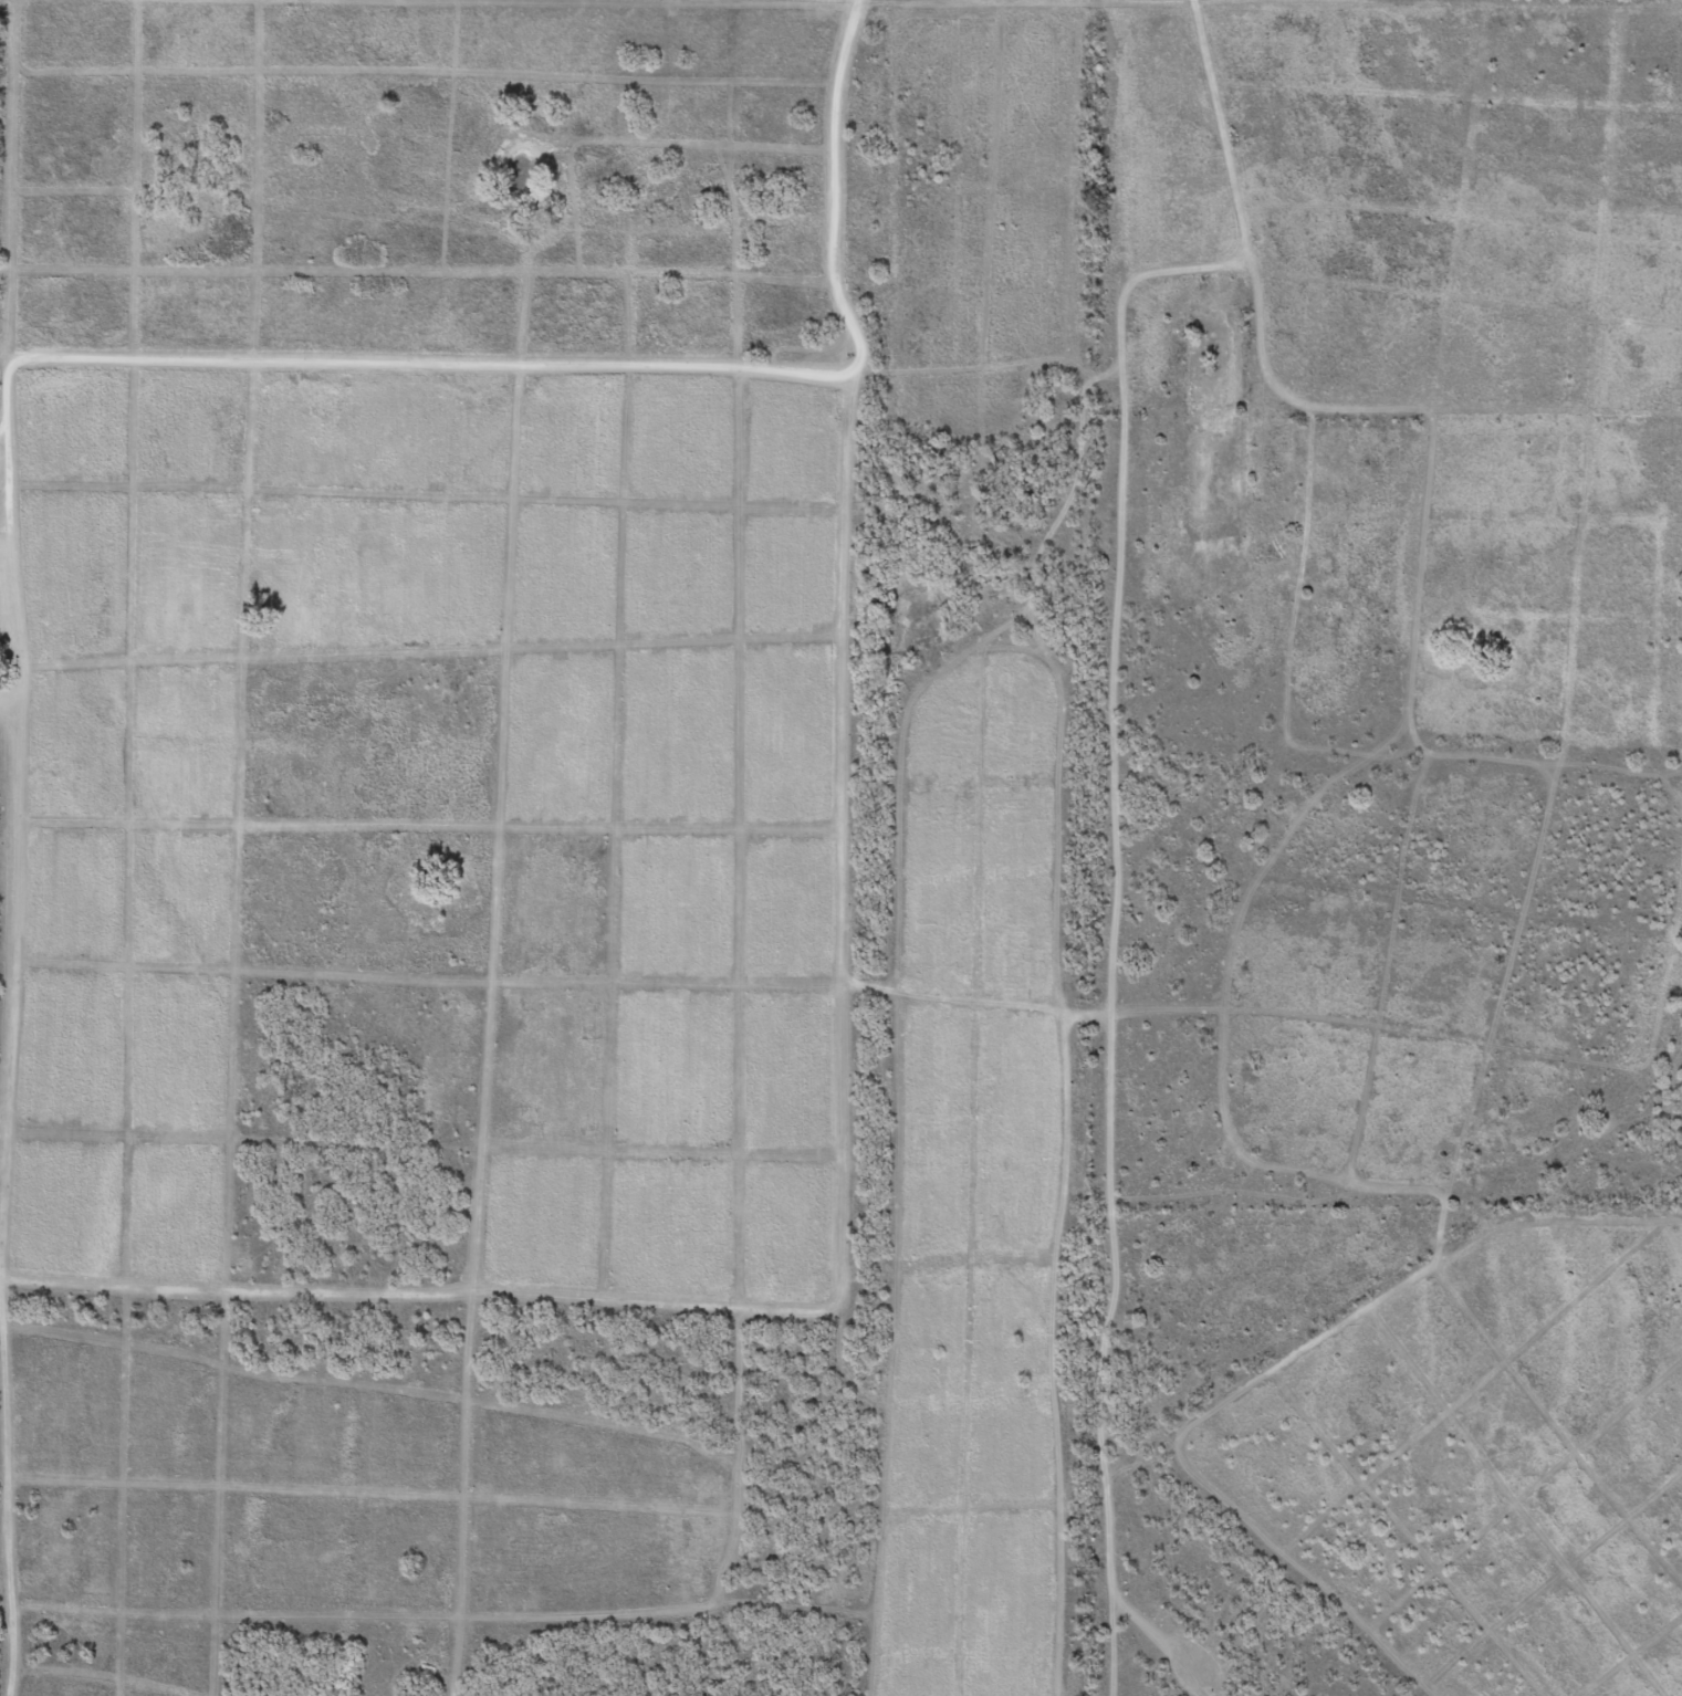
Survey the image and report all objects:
road: (1288, 3)
road: (1226, 4)
road: (1087, 161)

